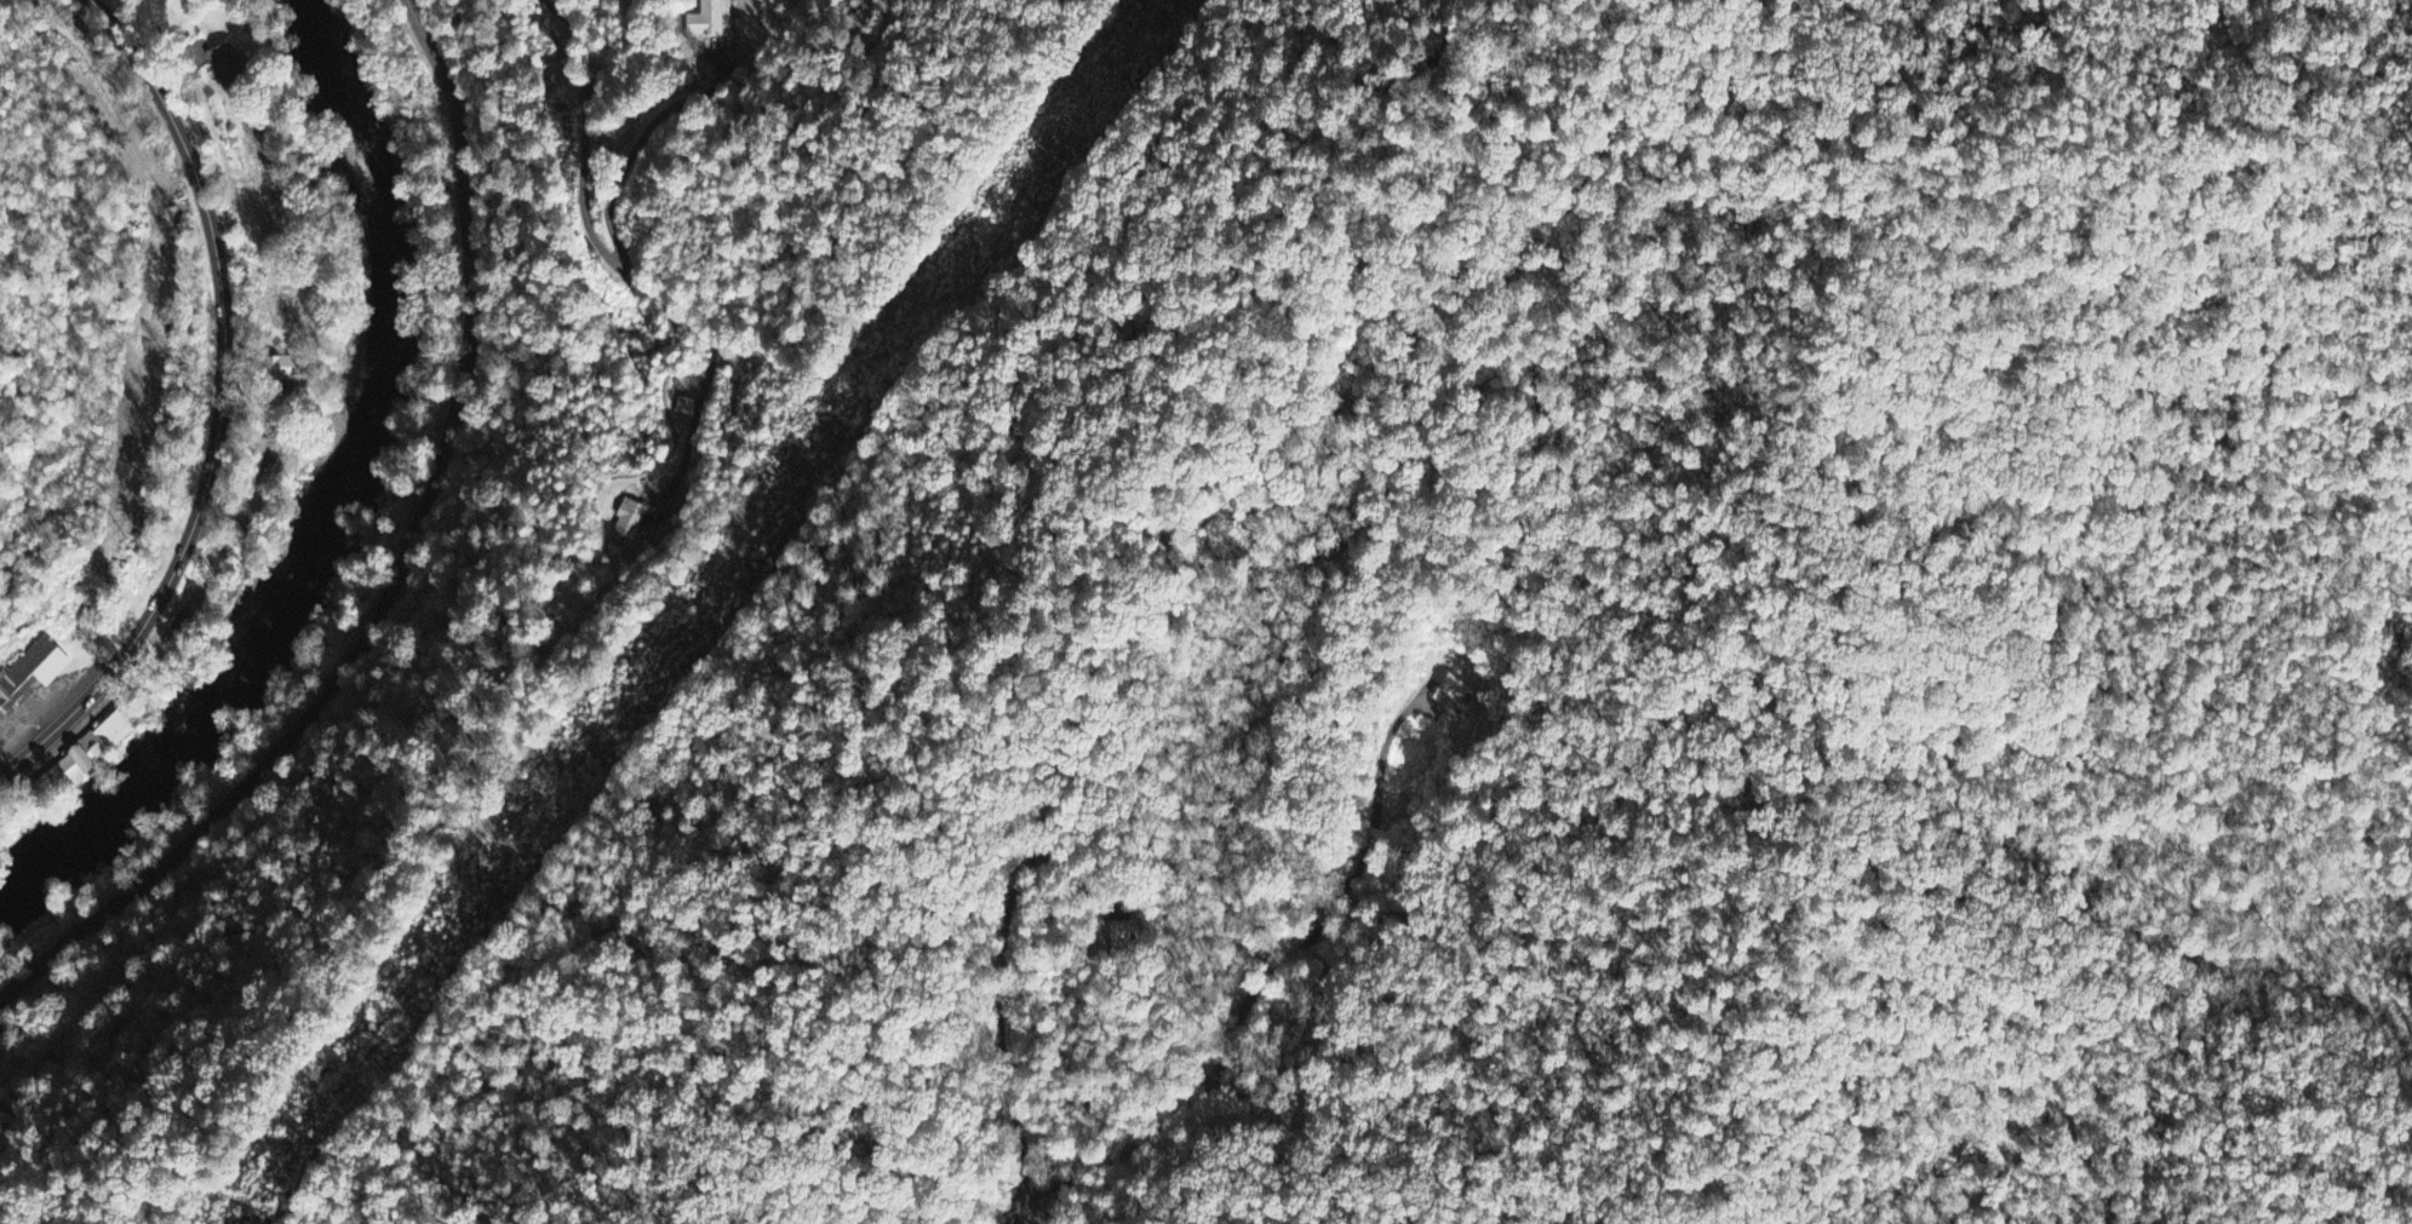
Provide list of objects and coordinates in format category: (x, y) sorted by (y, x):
road: (99, 13)
building: (706, 21)
building: (228, 67)
power tower: (1042, 155)
building: (286, 370)
road: (223, 390)
river: (336, 498)
building: (629, 522)
road: (399, 568)
building: (35, 668)
power tower: (646, 673)
building: (1454, 691)
building: (92, 753)
road: (27, 754)
building: (1124, 937)
road: (1254, 993)
road: (1002, 995)
power tower: (292, 1133)

